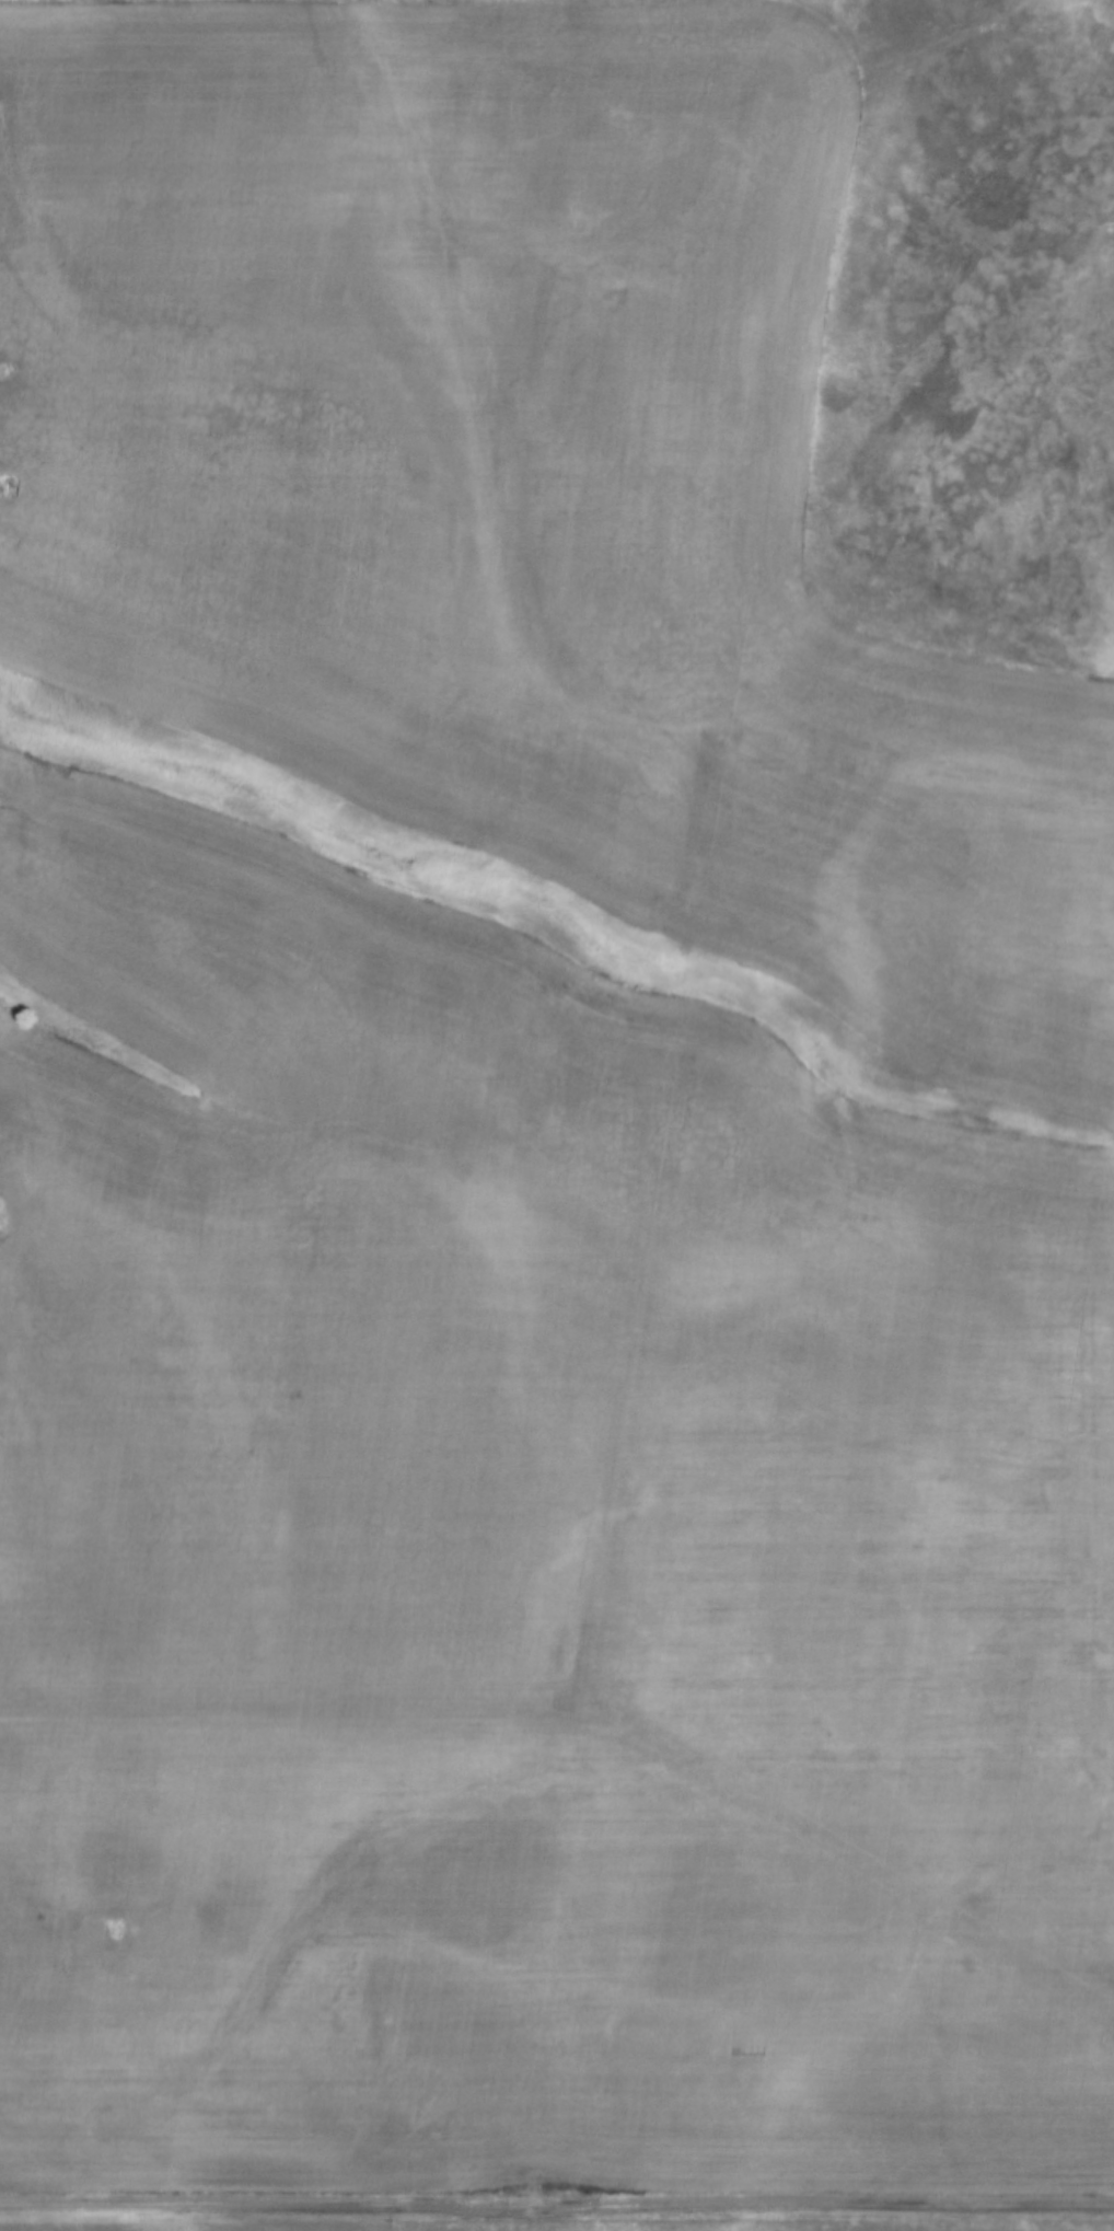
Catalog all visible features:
road: (557, 2203)

